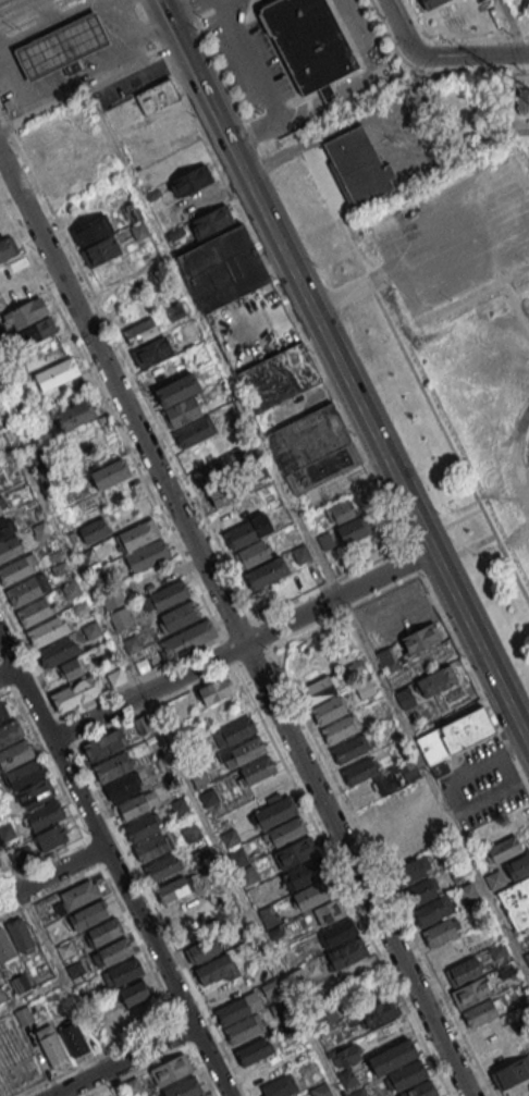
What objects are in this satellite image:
road: (187, 8)
building: (441, 12)
road: (47, 14)
road: (32, 15)
road: (60, 25)
road: (149, 28)
road: (176, 28)
road: (123, 32)
road: (406, 33)
building: (309, 41)
building: (63, 47)
road: (480, 53)
road: (367, 77)
road: (17, 79)
road: (229, 82)
road: (262, 83)
road: (90, 87)
building: (157, 97)
road: (333, 133)
building: (362, 167)
building: (190, 181)
road: (515, 204)
building: (211, 220)
building: (90, 230)
parking lot: (455, 233)
building: (8, 248)
building: (100, 250)
street lamp: (525, 261)
road: (273, 272)
road: (366, 284)
street lamp: (393, 288)
road: (507, 290)
road: (471, 294)
street lamp: (448, 299)
building: (32, 311)
building: (130, 311)
street lamp: (513, 317)
building: (245, 321)
building: (37, 331)
park: (452, 343)
building: (152, 350)
road: (416, 372)
building: (60, 374)
road: (359, 396)
building: (179, 399)
building: (79, 415)
street lamp: (509, 438)
building: (197, 442)
building: (312, 448)
road: (516, 455)
building: (212, 472)
building: (104, 477)
building: (224, 495)
building: (2, 507)
building: (233, 513)
road: (466, 517)
building: (349, 521)
building: (7, 530)
building: (94, 530)
building: (242, 533)
building: (138, 534)
road: (428, 535)
building: (327, 541)
road: (479, 544)
building: (12, 551)
building: (253, 554)
building: (300, 554)
building: (147, 555)
road: (417, 558)
road: (441, 563)
building: (17, 571)
building: (266, 572)
building: (26, 592)
building: (114, 596)
building: (165, 596)
building: (37, 613)
building: (179, 616)
building: (121, 618)
road: (231, 621)
building: (48, 632)
building: (421, 638)
building: (187, 639)
road: (245, 642)
building: (133, 644)
building: (58, 653)
building: (385, 655)
building: (73, 667)
road: (9, 672)
road: (4, 673)
road: (476, 679)
road: (21, 682)
road: (27, 682)
building: (427, 686)
road: (8, 689)
building: (216, 689)
building: (318, 690)
building: (75, 693)
building: (3, 710)
building: (329, 710)
building: (340, 728)
building: (234, 731)
building: (11, 732)
building: (455, 735)
building: (104, 744)
building: (349, 749)
road: (172, 751)
building: (243, 752)
building: (15, 753)
building: (255, 771)
building: (359, 771)
building: (24, 774)
building: (118, 776)
building: (395, 776)
road: (435, 783)
building: (268, 790)
building: (35, 792)
road: (64, 795)
road: (346, 797)
building: (137, 804)
building: (2, 808)
building: (381, 808)
building: (45, 815)
building: (280, 821)
building: (143, 826)
building: (7, 832)
building: (53, 836)
building: (397, 838)
building: (151, 847)
building: (503, 849)
building: (295, 852)
building: (22, 857)
building: (238, 858)
building: (163, 867)
building: (411, 871)
building: (306, 872)
road: (11, 873)
road: (51, 873)
building: (248, 874)
road: (3, 877)
building: (494, 879)
building: (173, 889)
building: (516, 891)
building: (79, 894)
building: (313, 894)
building: (427, 901)
building: (329, 912)
building: (88, 915)
building: (269, 915)
road: (138, 918)
road: (132, 931)
building: (337, 932)
building: (441, 932)
building: (58, 933)
building: (103, 933)
building: (20, 934)
building: (5, 948)
building: (204, 948)
building: (65, 949)
building: (347, 952)
building: (110, 953)
road: (62, 971)
building: (217, 971)
building: (464, 971)
building: (123, 973)
building: (14, 986)
building: (472, 992)
building: (134, 993)
building: (238, 1008)
building: (481, 1011)
building: (378, 1013)
building: (24, 1015)
building: (244, 1029)
building: (72, 1036)
building: (51, 1045)
building: (253, 1050)
building: (350, 1051)
building: (392, 1056)
road: (122, 1061)
building: (171, 1069)
building: (266, 1070)
building: (510, 1073)
building: (405, 1075)
building: (279, 1086)
building: (133, 1087)
building: (184, 1087)
building: (421, 1089)
building: (204, 1095)

